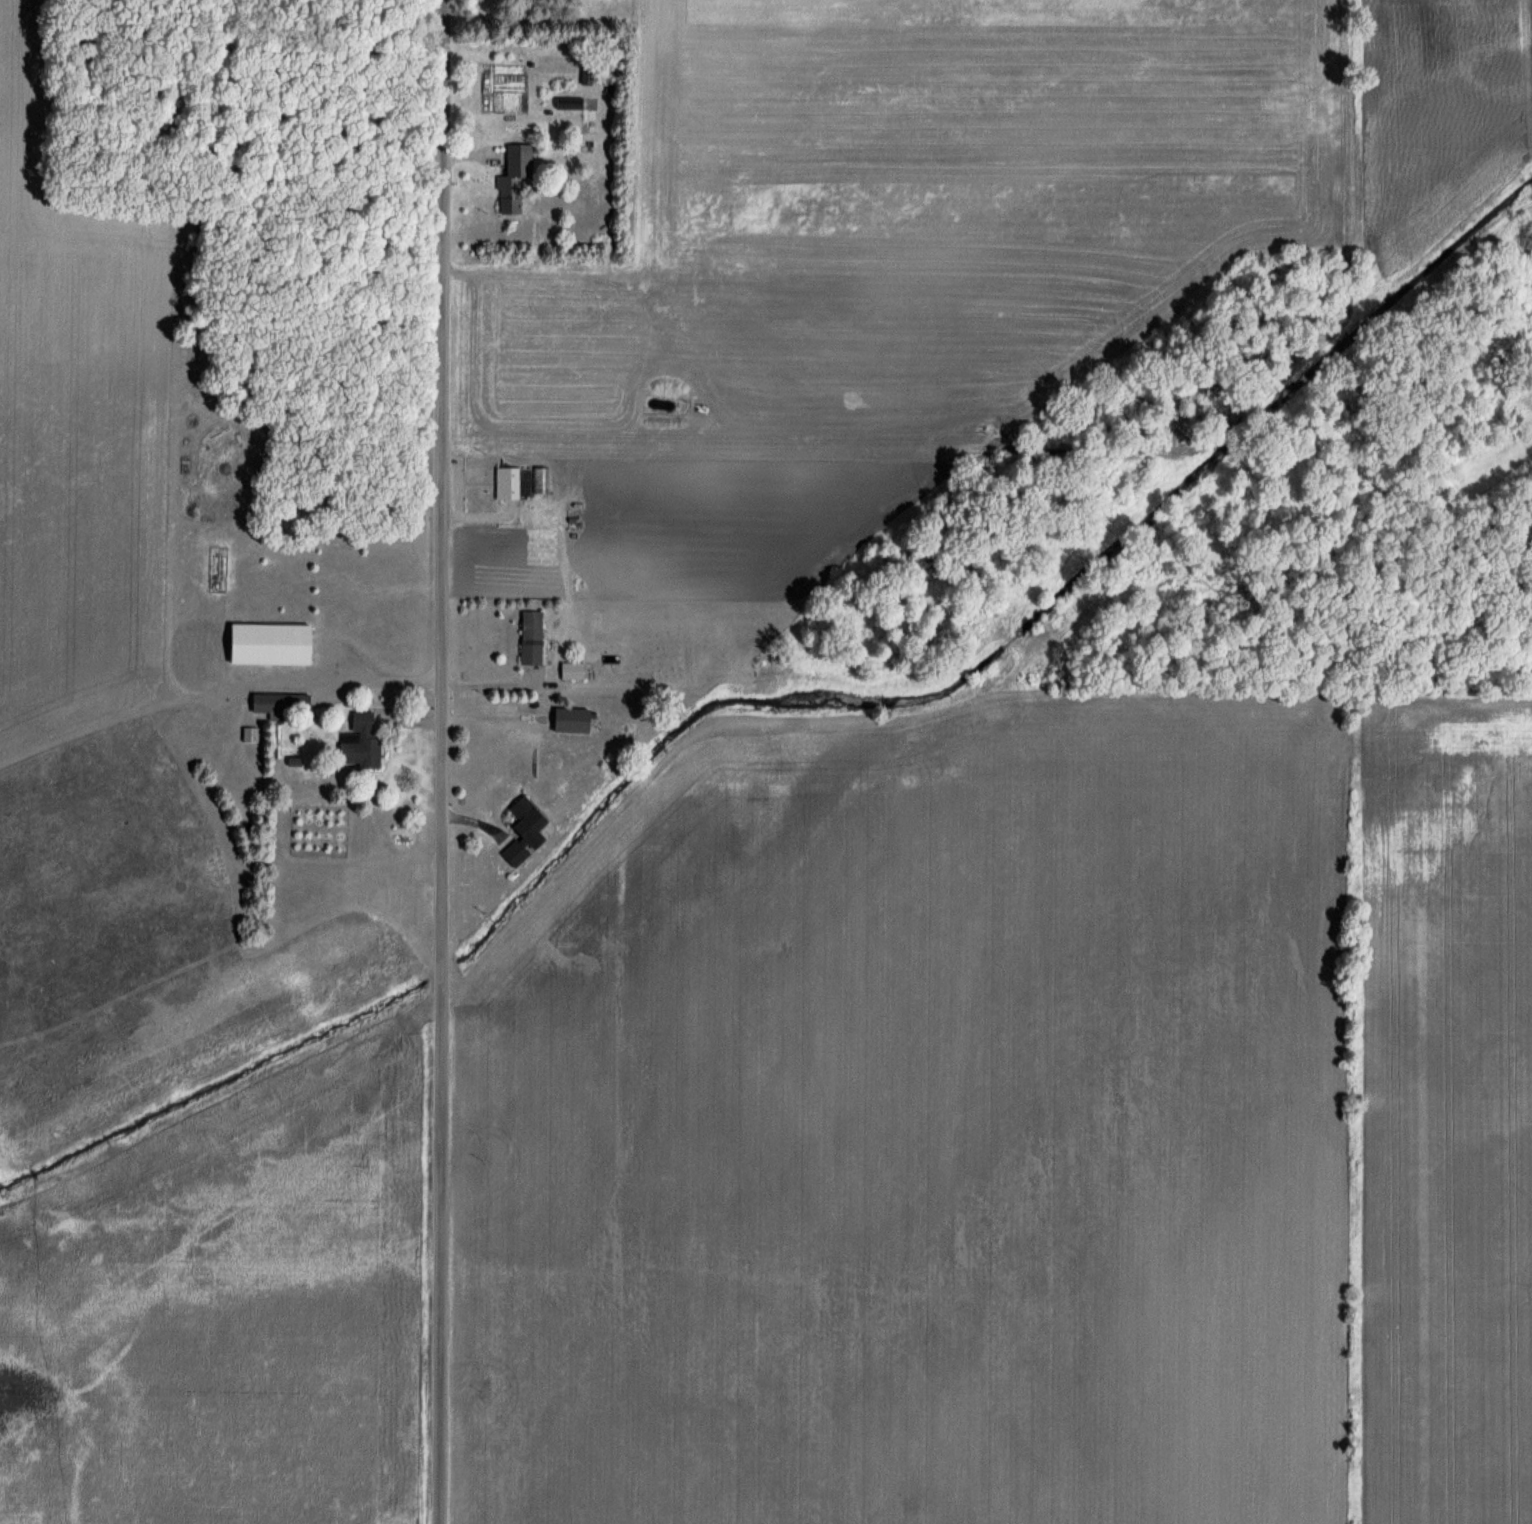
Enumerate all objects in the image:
building: (511, 184)
road: (218, 256)
building: (529, 639)
building: (267, 645)
building: (571, 671)
road: (513, 681)
building: (277, 706)
building: (567, 721)
building: (357, 744)
road: (439, 761)
building: (521, 830)

